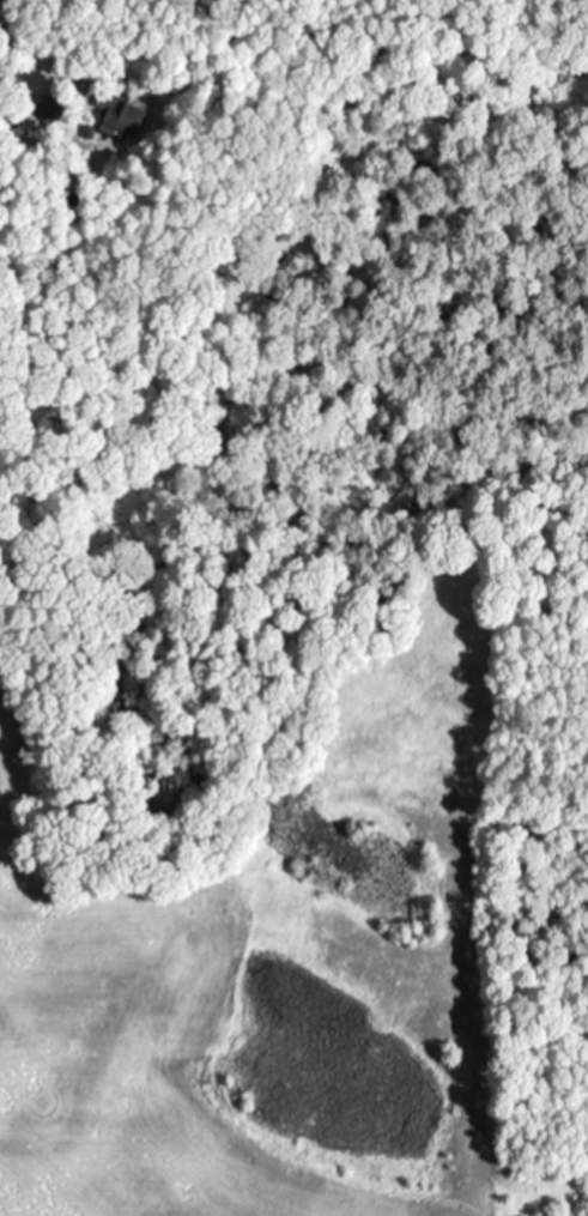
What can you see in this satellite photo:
road: (10, 42)
building: (115, 114)

